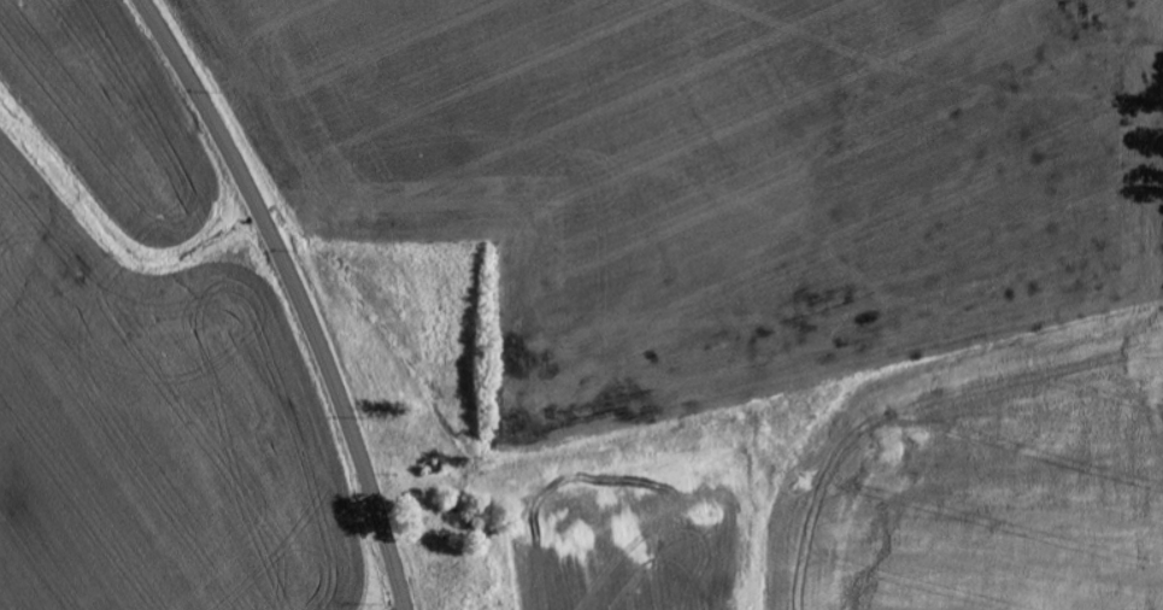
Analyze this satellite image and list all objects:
road: (298, 293)

